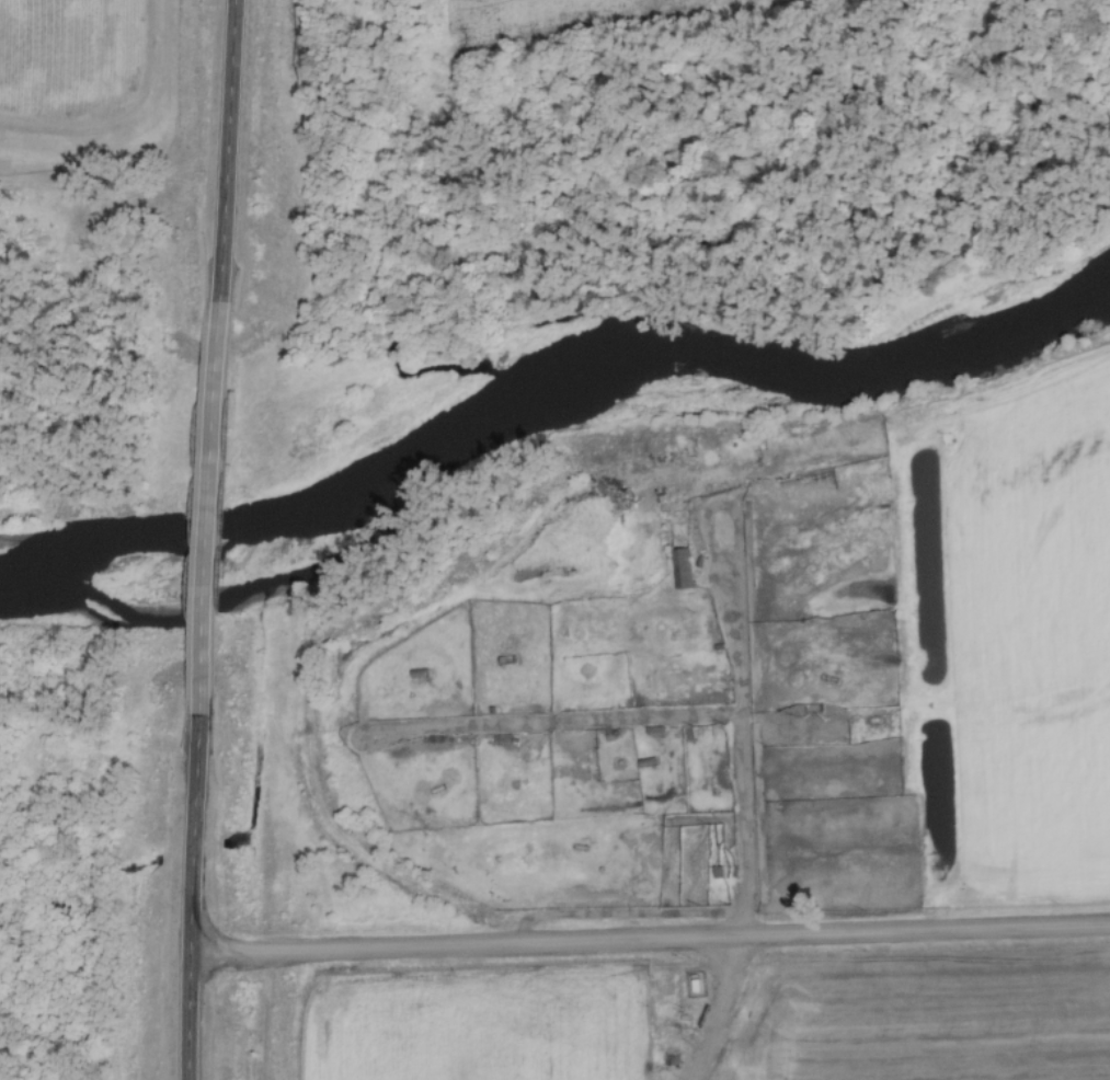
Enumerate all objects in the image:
crop: (588, 20)
road: (224, 150)
river: (537, 390)
road: (205, 507)
building: (679, 564)
crop: (1030, 634)
building: (693, 678)
building: (699, 733)
road: (745, 808)
road: (191, 896)
road: (650, 941)

